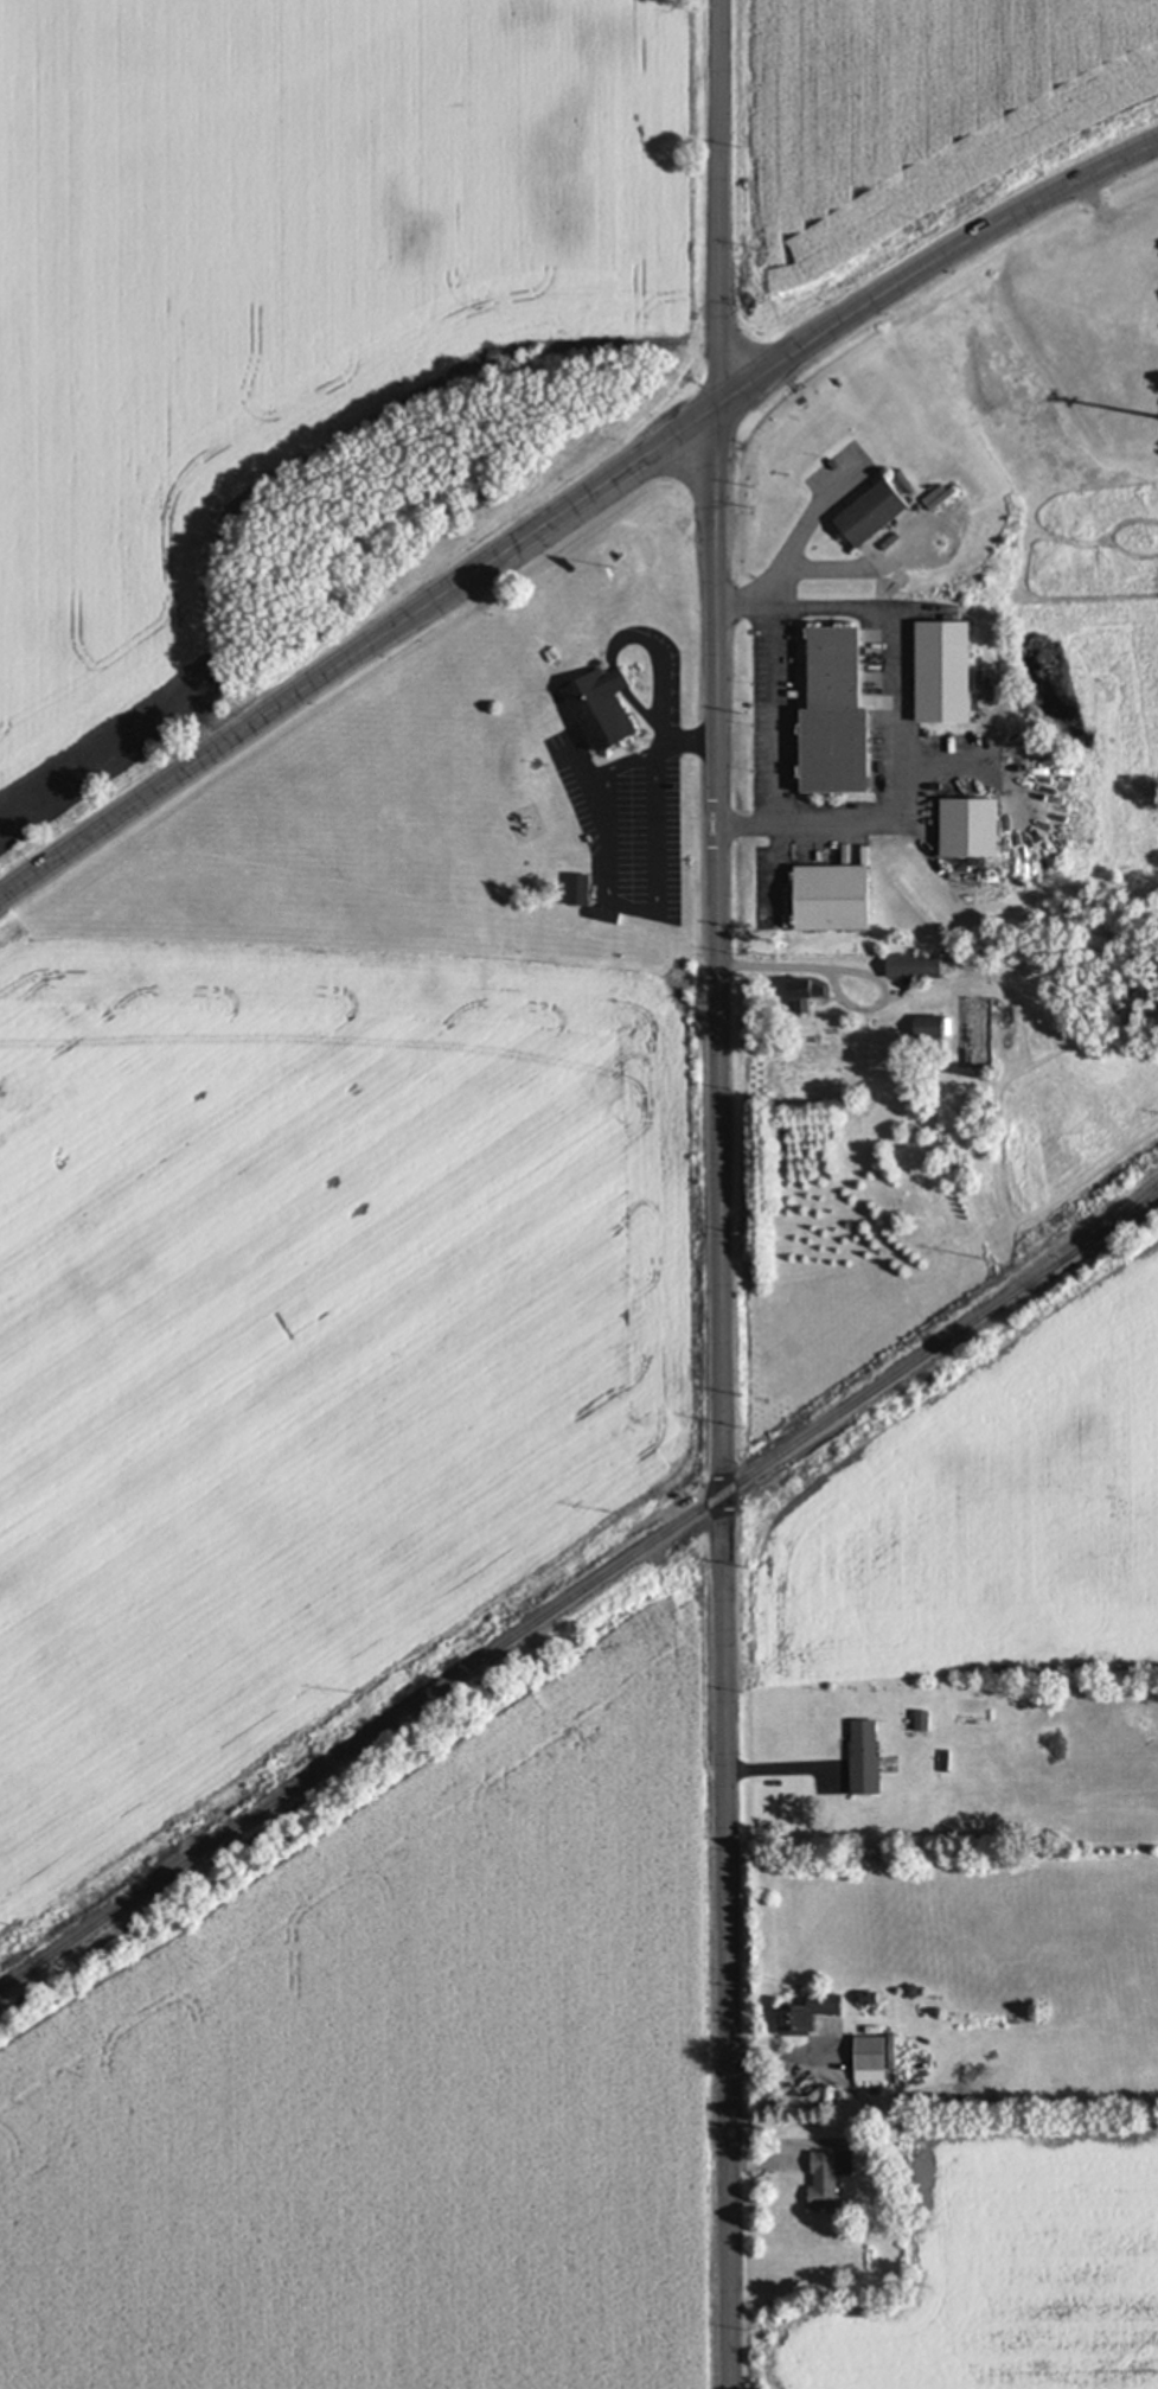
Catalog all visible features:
road: (1113, 210)
road: (568, 506)
building: (876, 512)
road: (786, 545)
building: (947, 673)
building: (606, 709)
building: (840, 716)
road: (775, 717)
road: (889, 717)
road: (686, 743)
building: (973, 828)
building: (578, 889)
building: (838, 898)
road: (616, 903)
building: (919, 965)
road: (793, 970)
building: (808, 992)
building: (932, 1027)
road: (719, 1194)
railway: (1109, 1221)
railway: (578, 1592)
building: (921, 1720)
building: (864, 1755)
building: (810, 2012)
building: (871, 2058)
building: (826, 2176)

